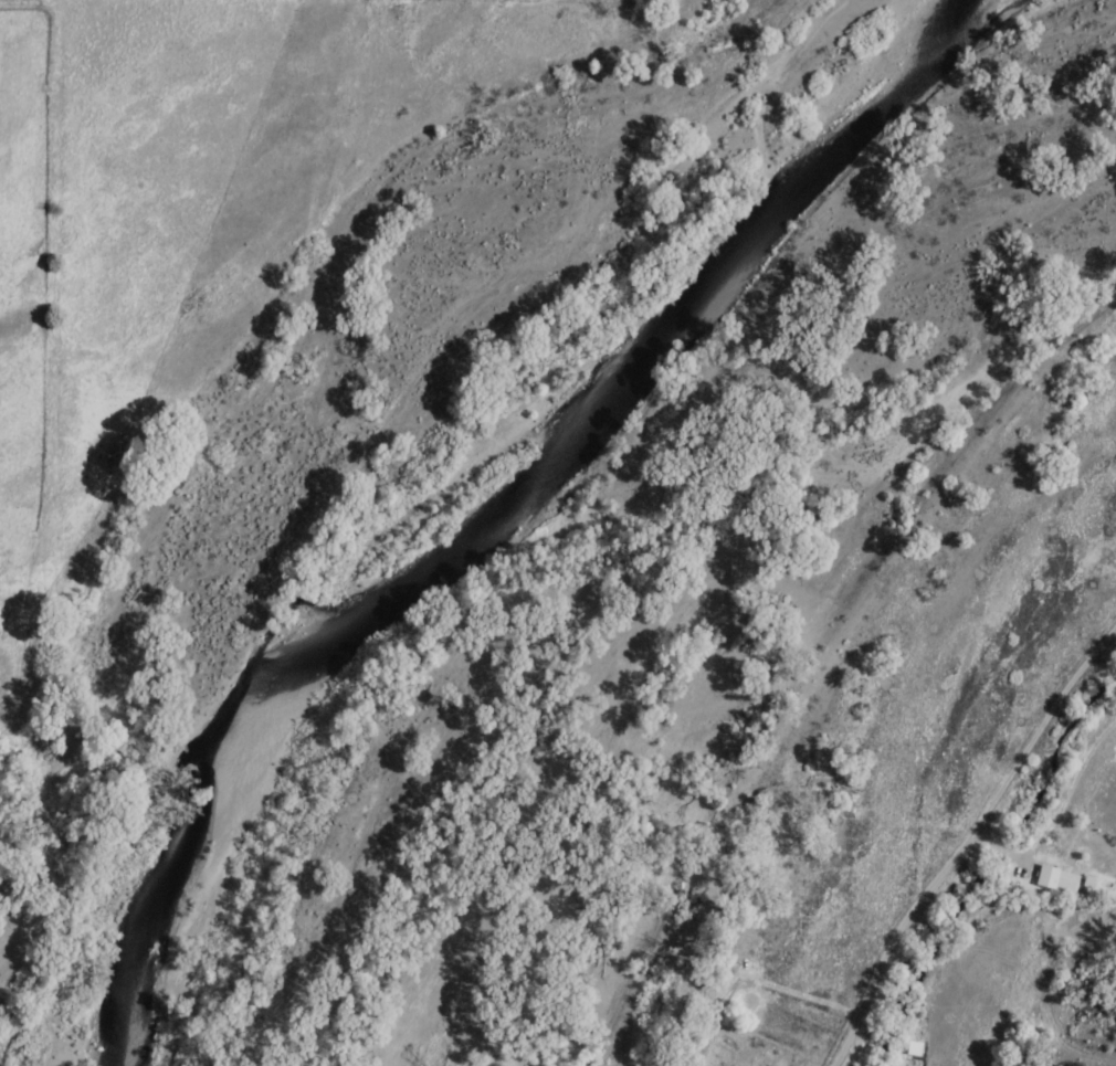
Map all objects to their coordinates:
river: (487, 510)
building: (1055, 878)
building: (910, 1047)

